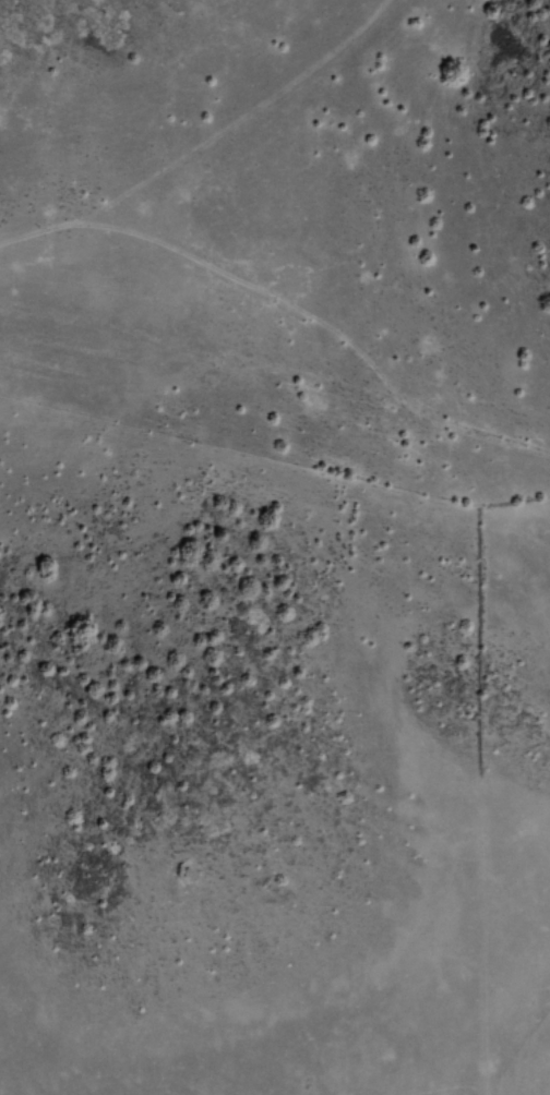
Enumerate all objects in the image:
road: (228, 118)
road: (285, 310)

